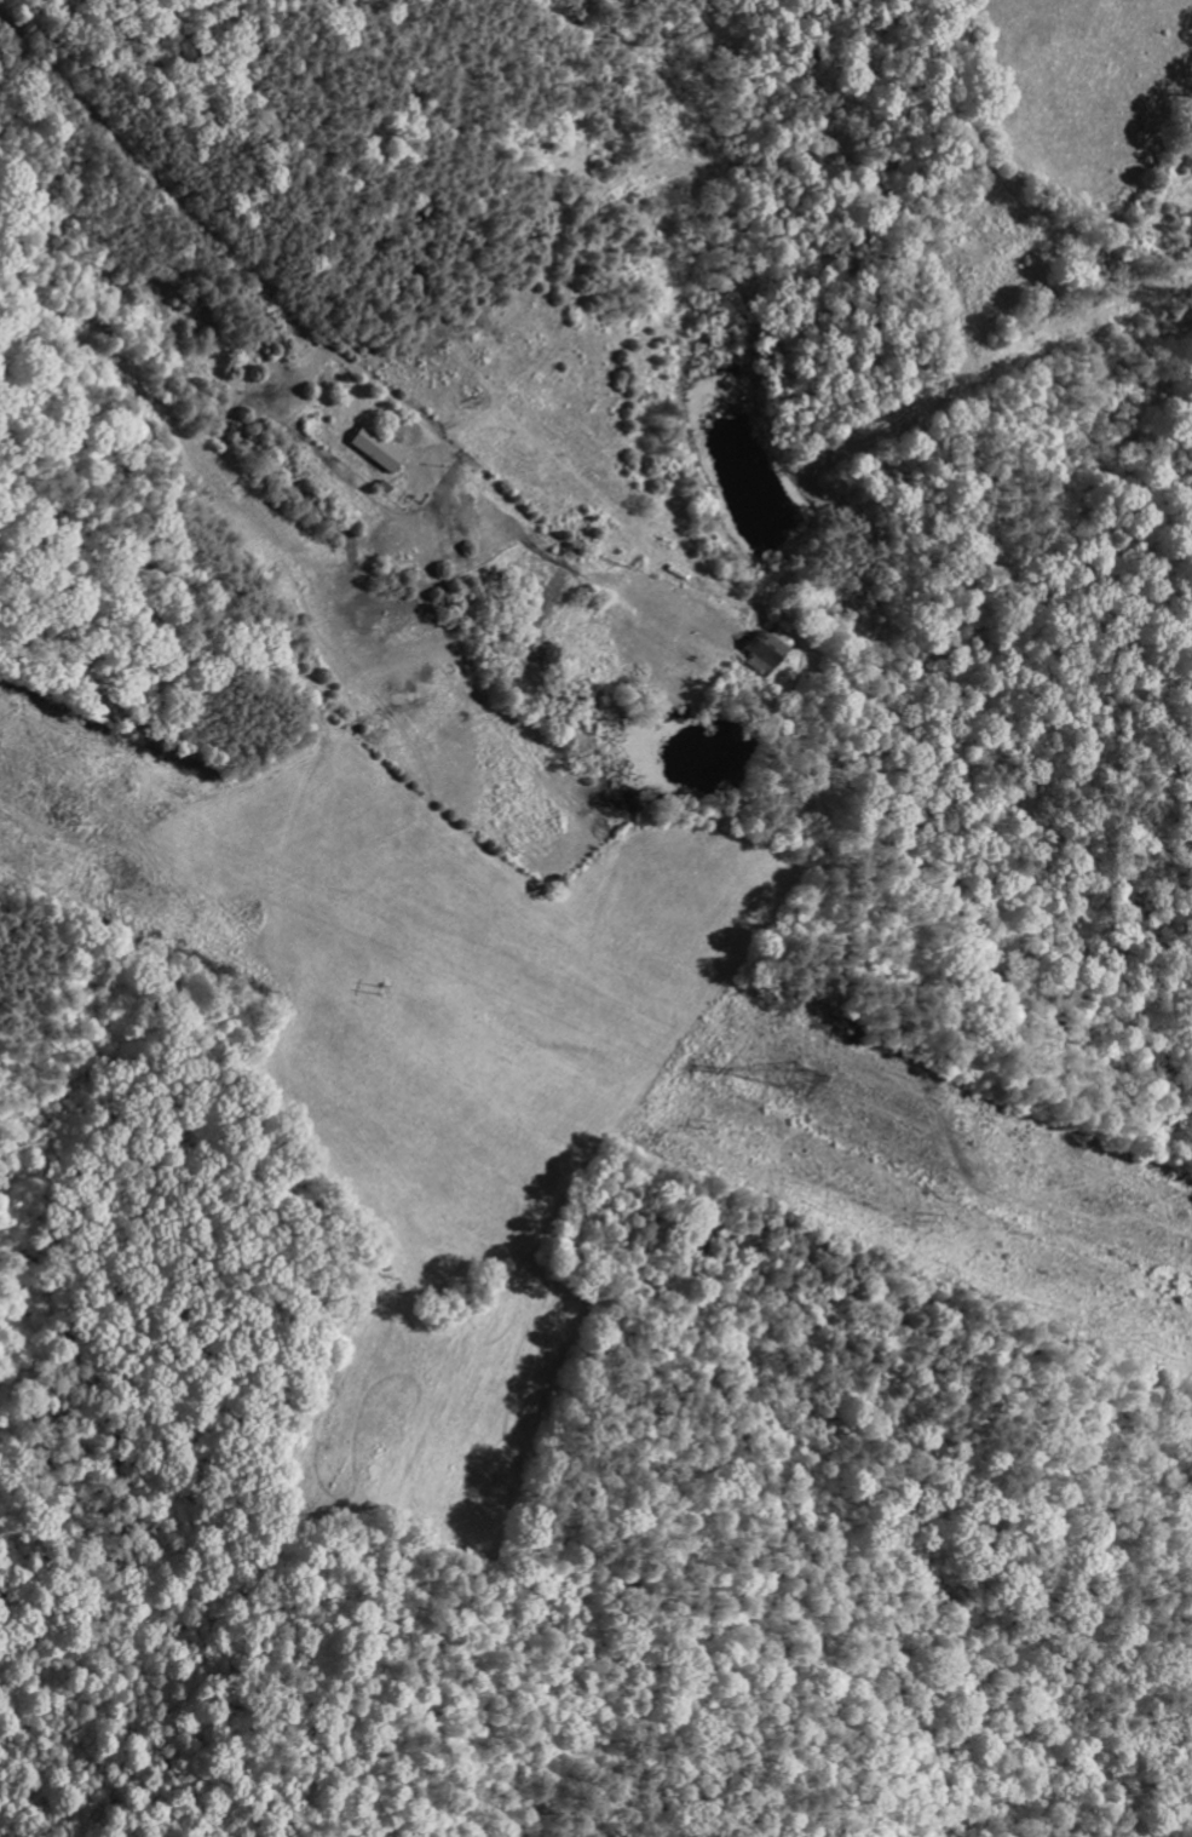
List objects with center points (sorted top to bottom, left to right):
road: (207, 228)
building: (372, 448)
power tower: (794, 1075)

